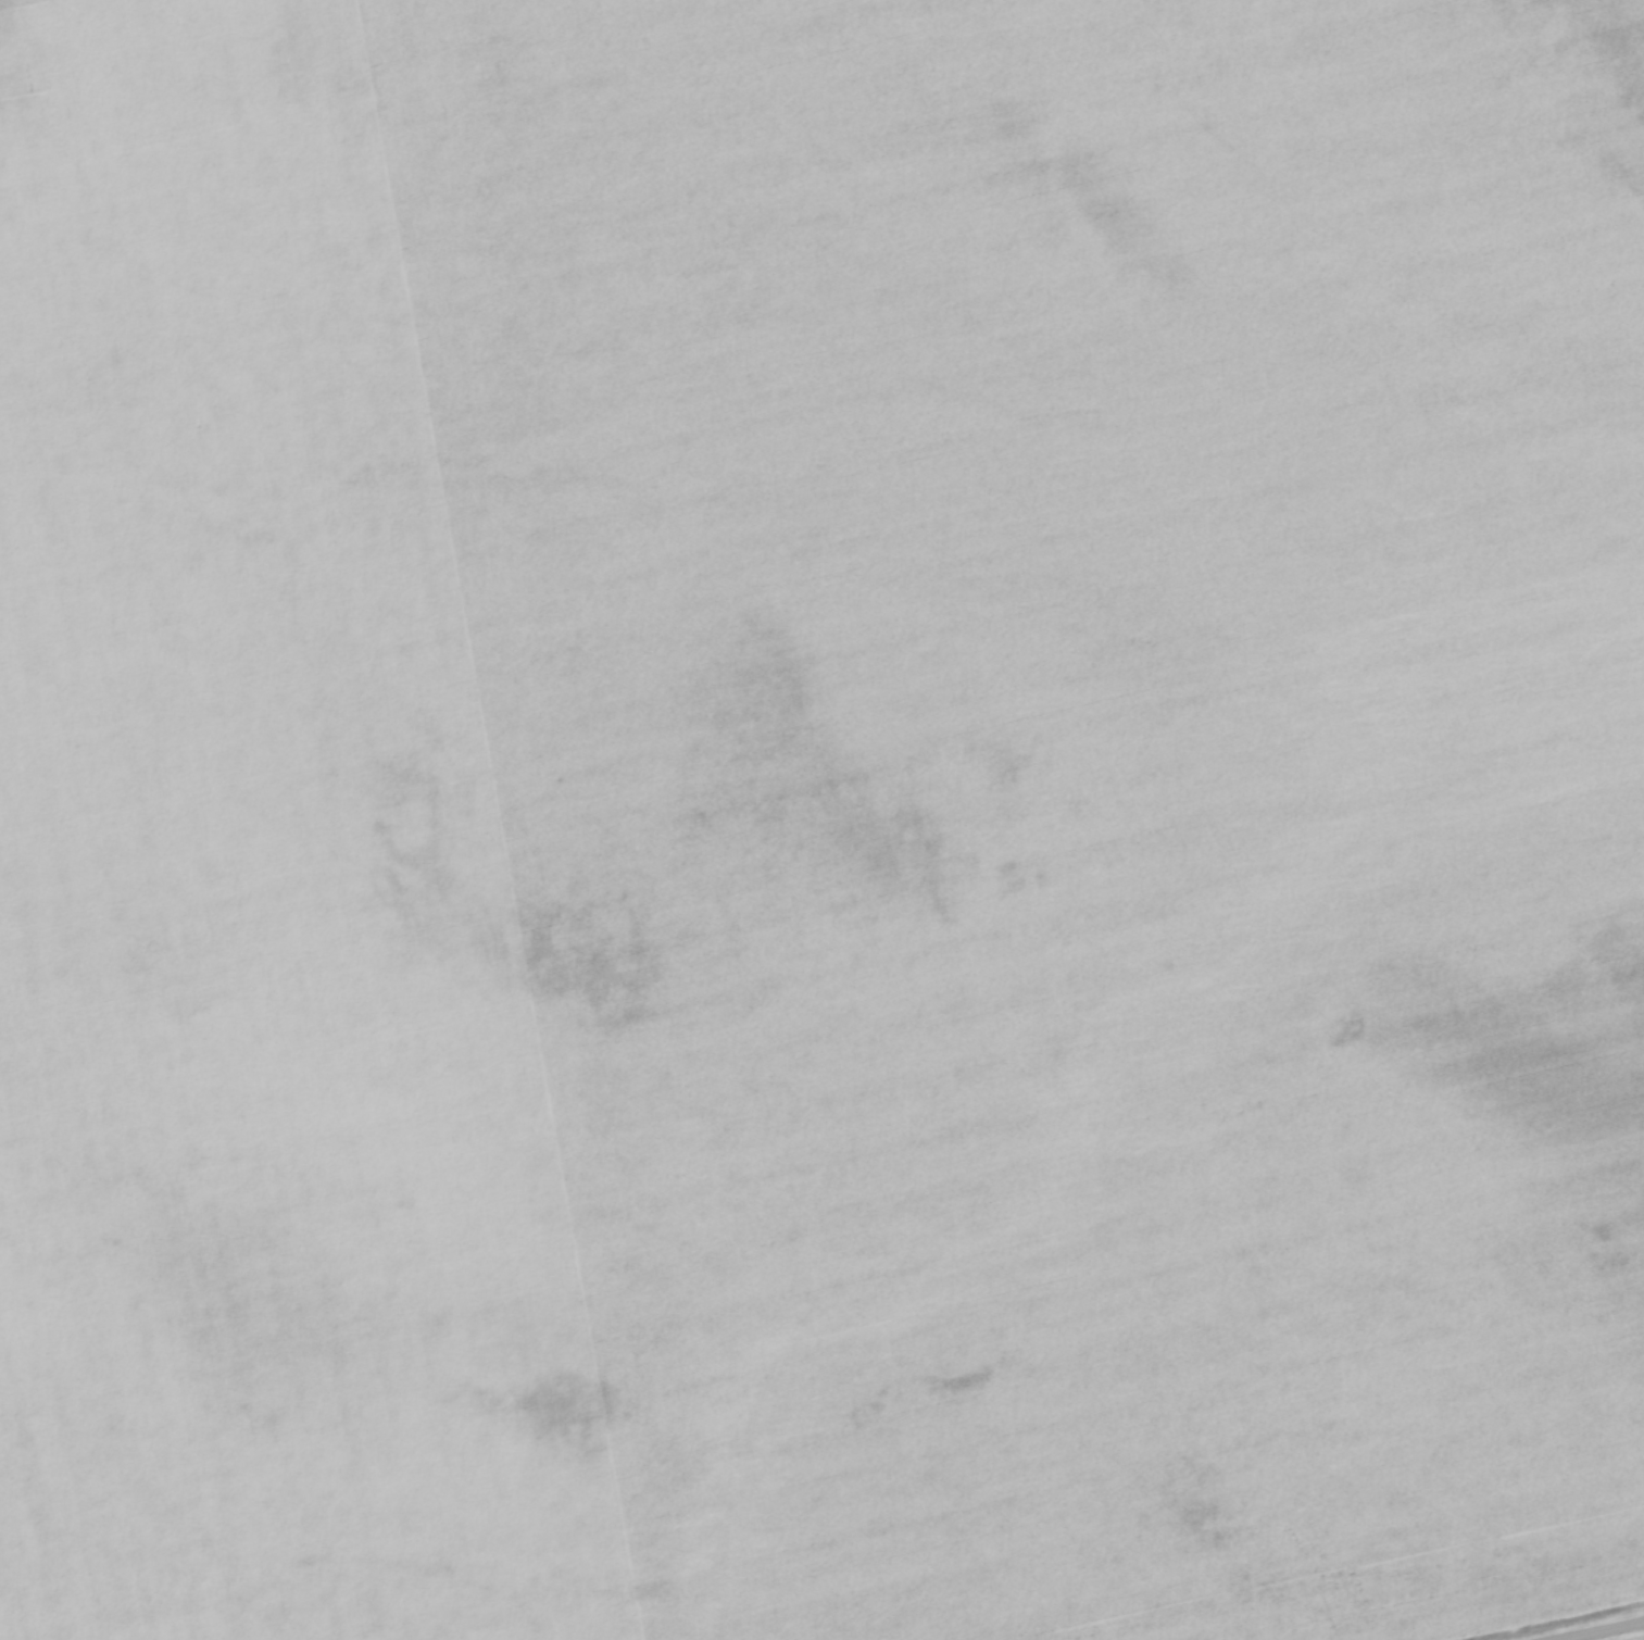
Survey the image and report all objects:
road: (1609, 1632)

